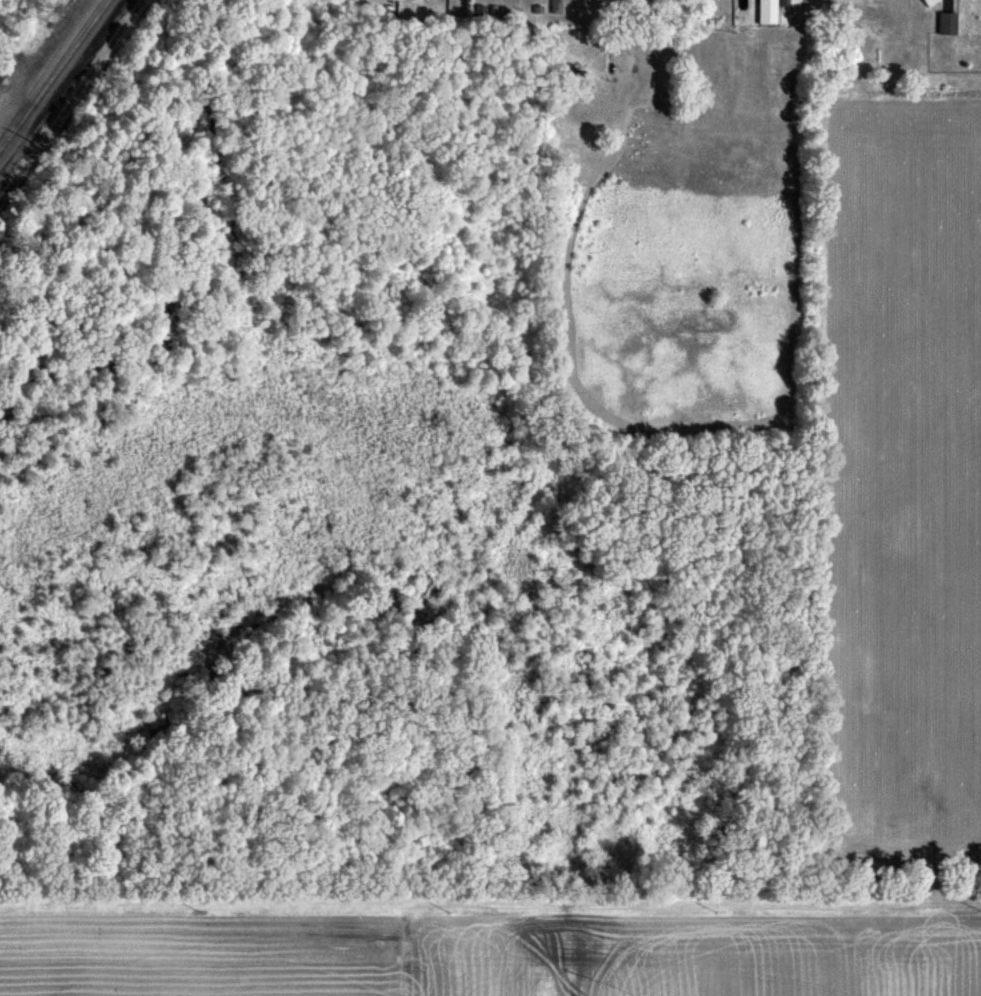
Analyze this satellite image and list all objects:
building: (930, 2)
building: (784, 9)
building: (767, 12)
road: (624, 14)
building: (662, 15)
building: (948, 24)
railway: (50, 75)
railway: (57, 79)
building: (650, 105)

